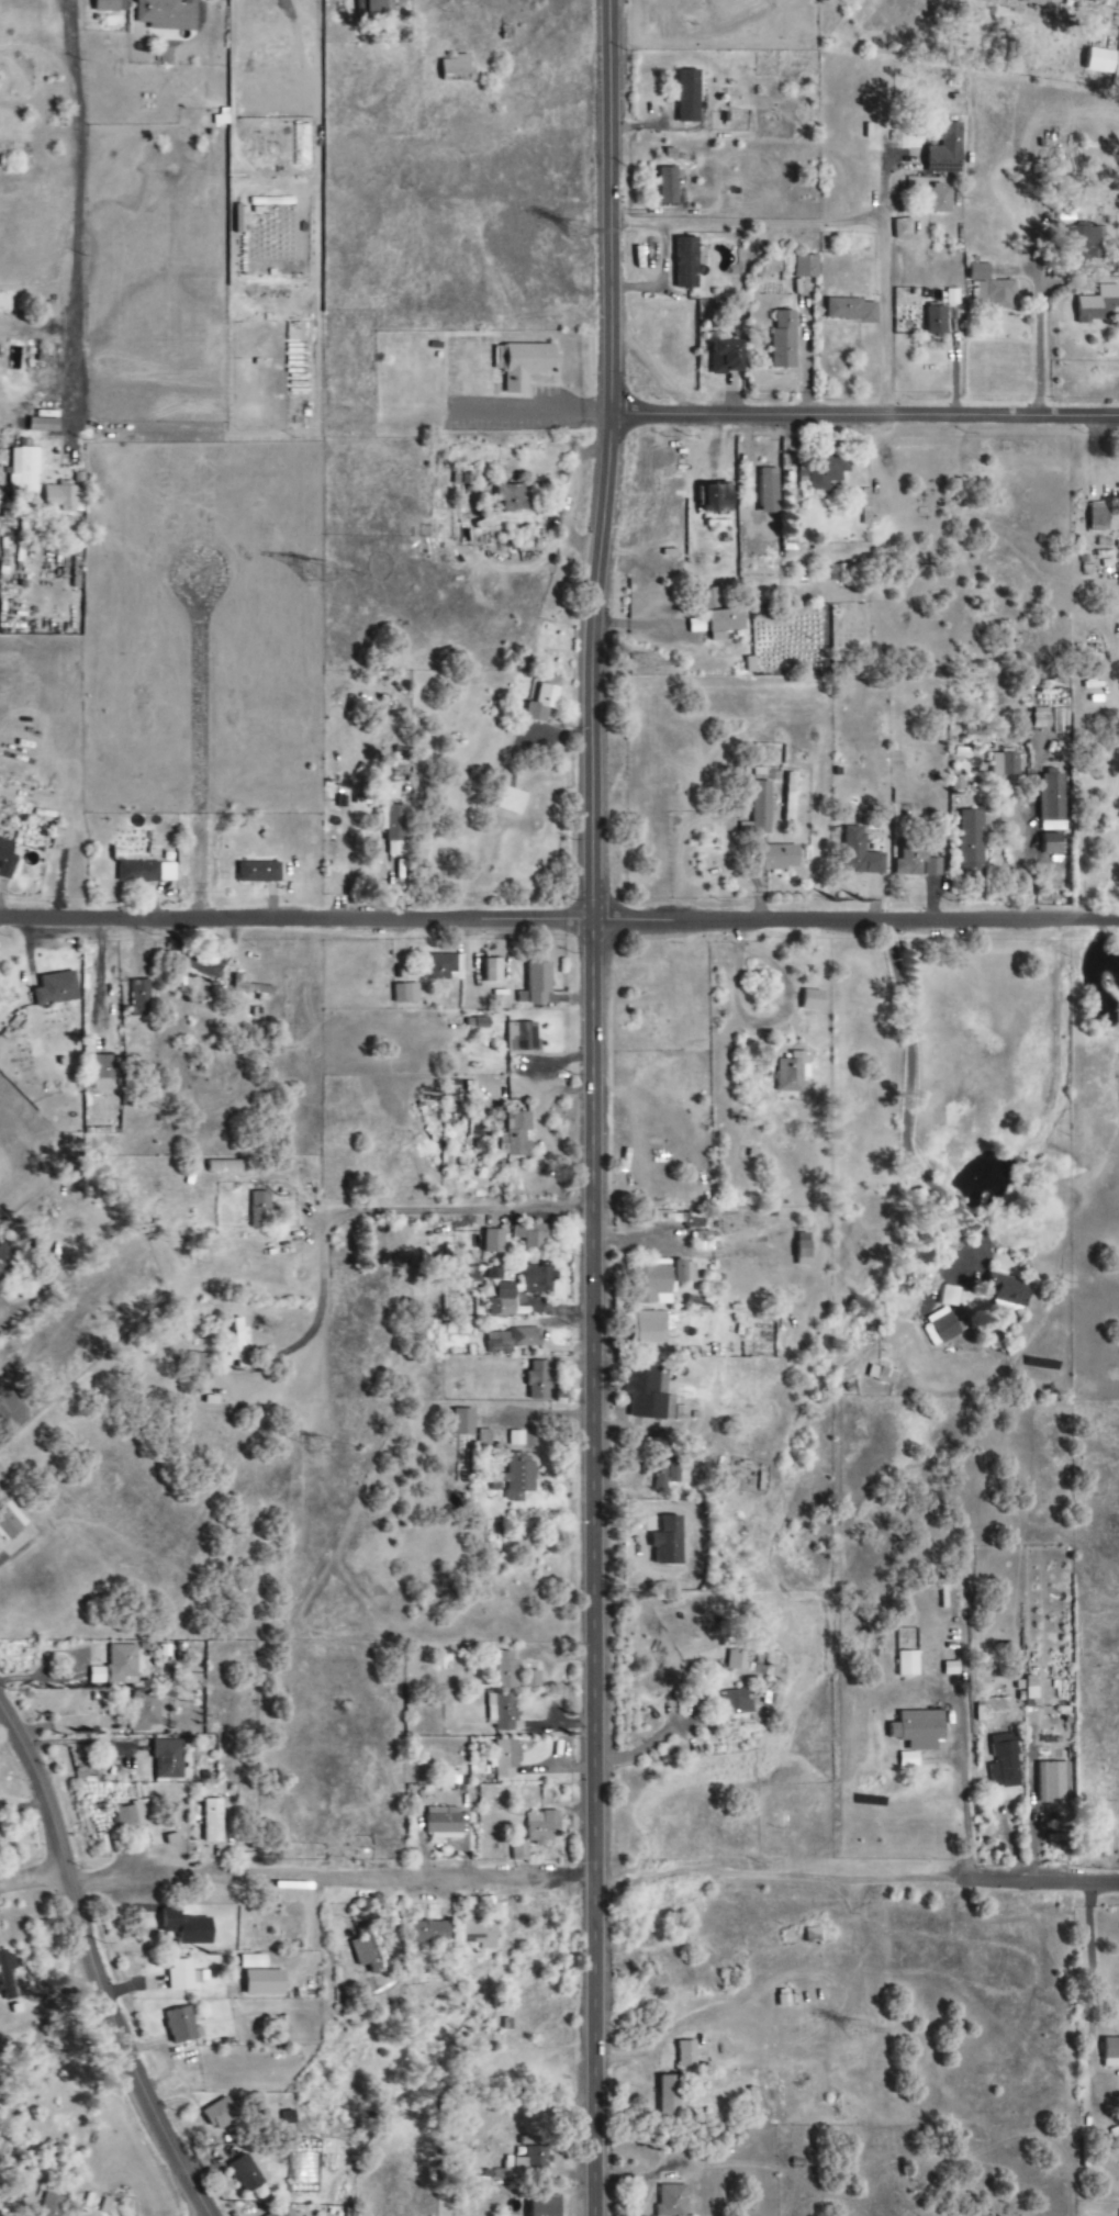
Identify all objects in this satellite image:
building: (1030, 2)
building: (108, 5)
building: (374, 8)
building: (168, 14)
building: (166, 55)
building: (1094, 61)
building: (457, 68)
building: (689, 96)
building: (947, 149)
building: (669, 186)
building: (941, 199)
road: (79, 216)
road: (837, 226)
building: (903, 228)
building: (1084, 242)
power tower: (579, 246)
building: (687, 262)
building: (806, 266)
building: (994, 289)
building: (952, 296)
building: (1100, 305)
building: (851, 310)
building: (937, 320)
building: (785, 340)
road: (1039, 342)
building: (729, 357)
building: (524, 363)
road: (864, 411)
building: (44, 421)
building: (27, 467)
building: (771, 491)
building: (67, 495)
building: (719, 497)
building: (515, 499)
building: (1100, 517)
building: (839, 572)
power tower: (317, 573)
building: (712, 598)
building: (726, 623)
building: (697, 626)
power tower: (651, 654)
building: (544, 700)
road: (457, 731)
building: (1009, 764)
building: (1053, 798)
building: (511, 801)
building: (762, 807)
building: (394, 828)
building: (970, 837)
building: (860, 853)
building: (779, 858)
building: (7, 859)
building: (916, 860)
building: (147, 872)
building: (260, 872)
road: (559, 920)
building: (445, 967)
building: (493, 971)
building: (537, 984)
building: (250, 987)
building: (57, 989)
building: (406, 994)
building: (142, 998)
building: (814, 1000)
building: (479, 1023)
building: (522, 1038)
building: (104, 1071)
building: (792, 1073)
road: (908, 1092)
building: (429, 1098)
road: (592, 1107)
building: (100, 1121)
building: (521, 1135)
building: (225, 1167)
road: (438, 1194)
building: (261, 1210)
power tower: (735, 1217)
building: (534, 1234)
building: (493, 1242)
building: (707, 1242)
building: (805, 1254)
building: (7, 1257)
building: (685, 1272)
building: (537, 1280)
building: (652, 1285)
building: (1008, 1290)
building: (950, 1296)
building: (503, 1301)
building: (649, 1328)
building: (945, 1328)
building: (513, 1340)
building: (240, 1344)
building: (188, 1346)
building: (195, 1358)
building: (882, 1376)
building: (537, 1380)
building: (647, 1392)
building: (465, 1423)
building: (516, 1439)
power tower: (320, 1447)
building: (519, 1477)
building: (11, 1522)
building: (662, 1564)
building: (738, 1660)
building: (121, 1664)
building: (909, 1665)
building: (514, 1674)
building: (738, 1703)
building: (147, 1710)
building: (503, 1712)
building: (920, 1730)
road: (647, 1746)
building: (505, 1759)
building: (169, 1760)
building: (1005, 1766)
road: (960, 1772)
building: (1052, 1784)
building: (128, 1817)
building: (445, 1821)
building: (213, 1822)
building: (541, 1828)
building: (521, 1853)
road: (777, 1874)
road: (331, 1879)
road: (1041, 1879)
road: (33, 1881)
building: (432, 1933)
building: (480, 1935)
building: (814, 1936)
building: (371, 1950)
building: (254, 1963)
road: (96, 1966)
building: (183, 1977)
building: (10, 1979)
building: (266, 1983)
road: (1085, 1988)
power tower: (864, 2024)
building: (181, 2026)
building: (1111, 2053)
building: (686, 2055)
building: (670, 2097)
building: (221, 2116)
building: (533, 2161)
building: (246, 2174)
building: (673, 2201)
building: (52, 2206)
building: (546, 2207)
building: (280, 2213)

